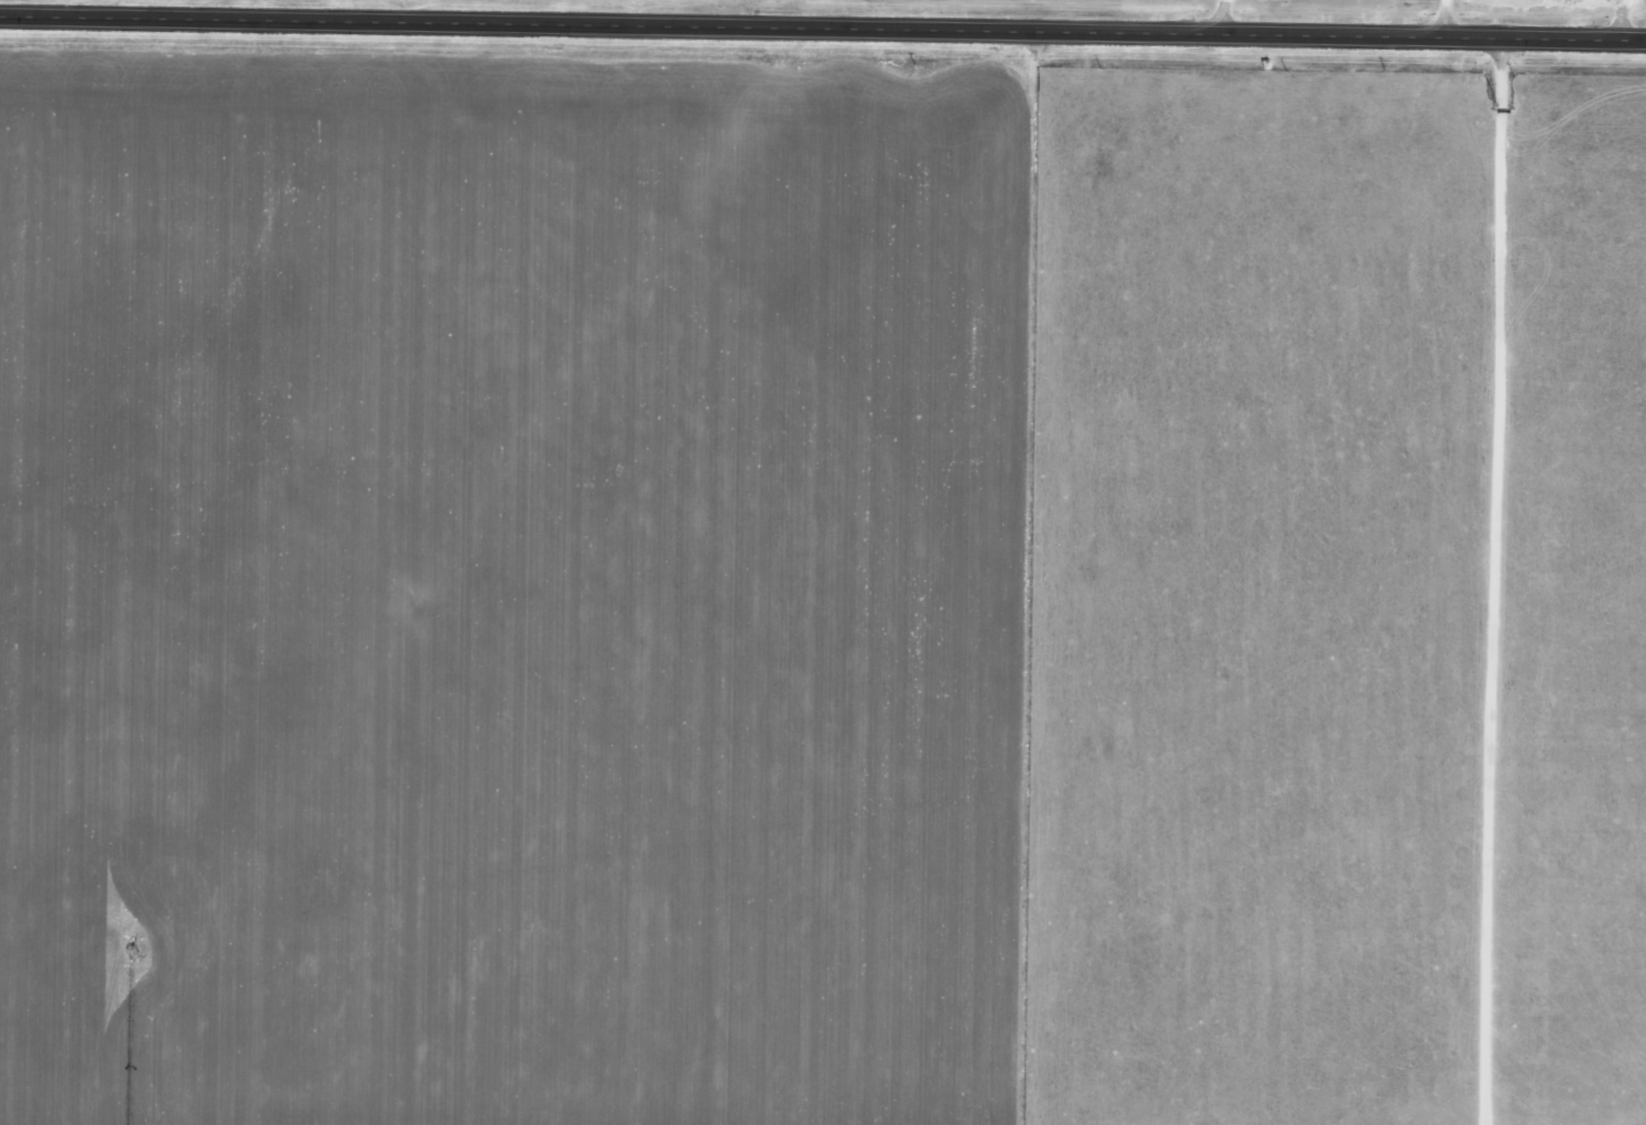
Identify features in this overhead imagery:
road: (822, 30)
road: (1496, 582)

